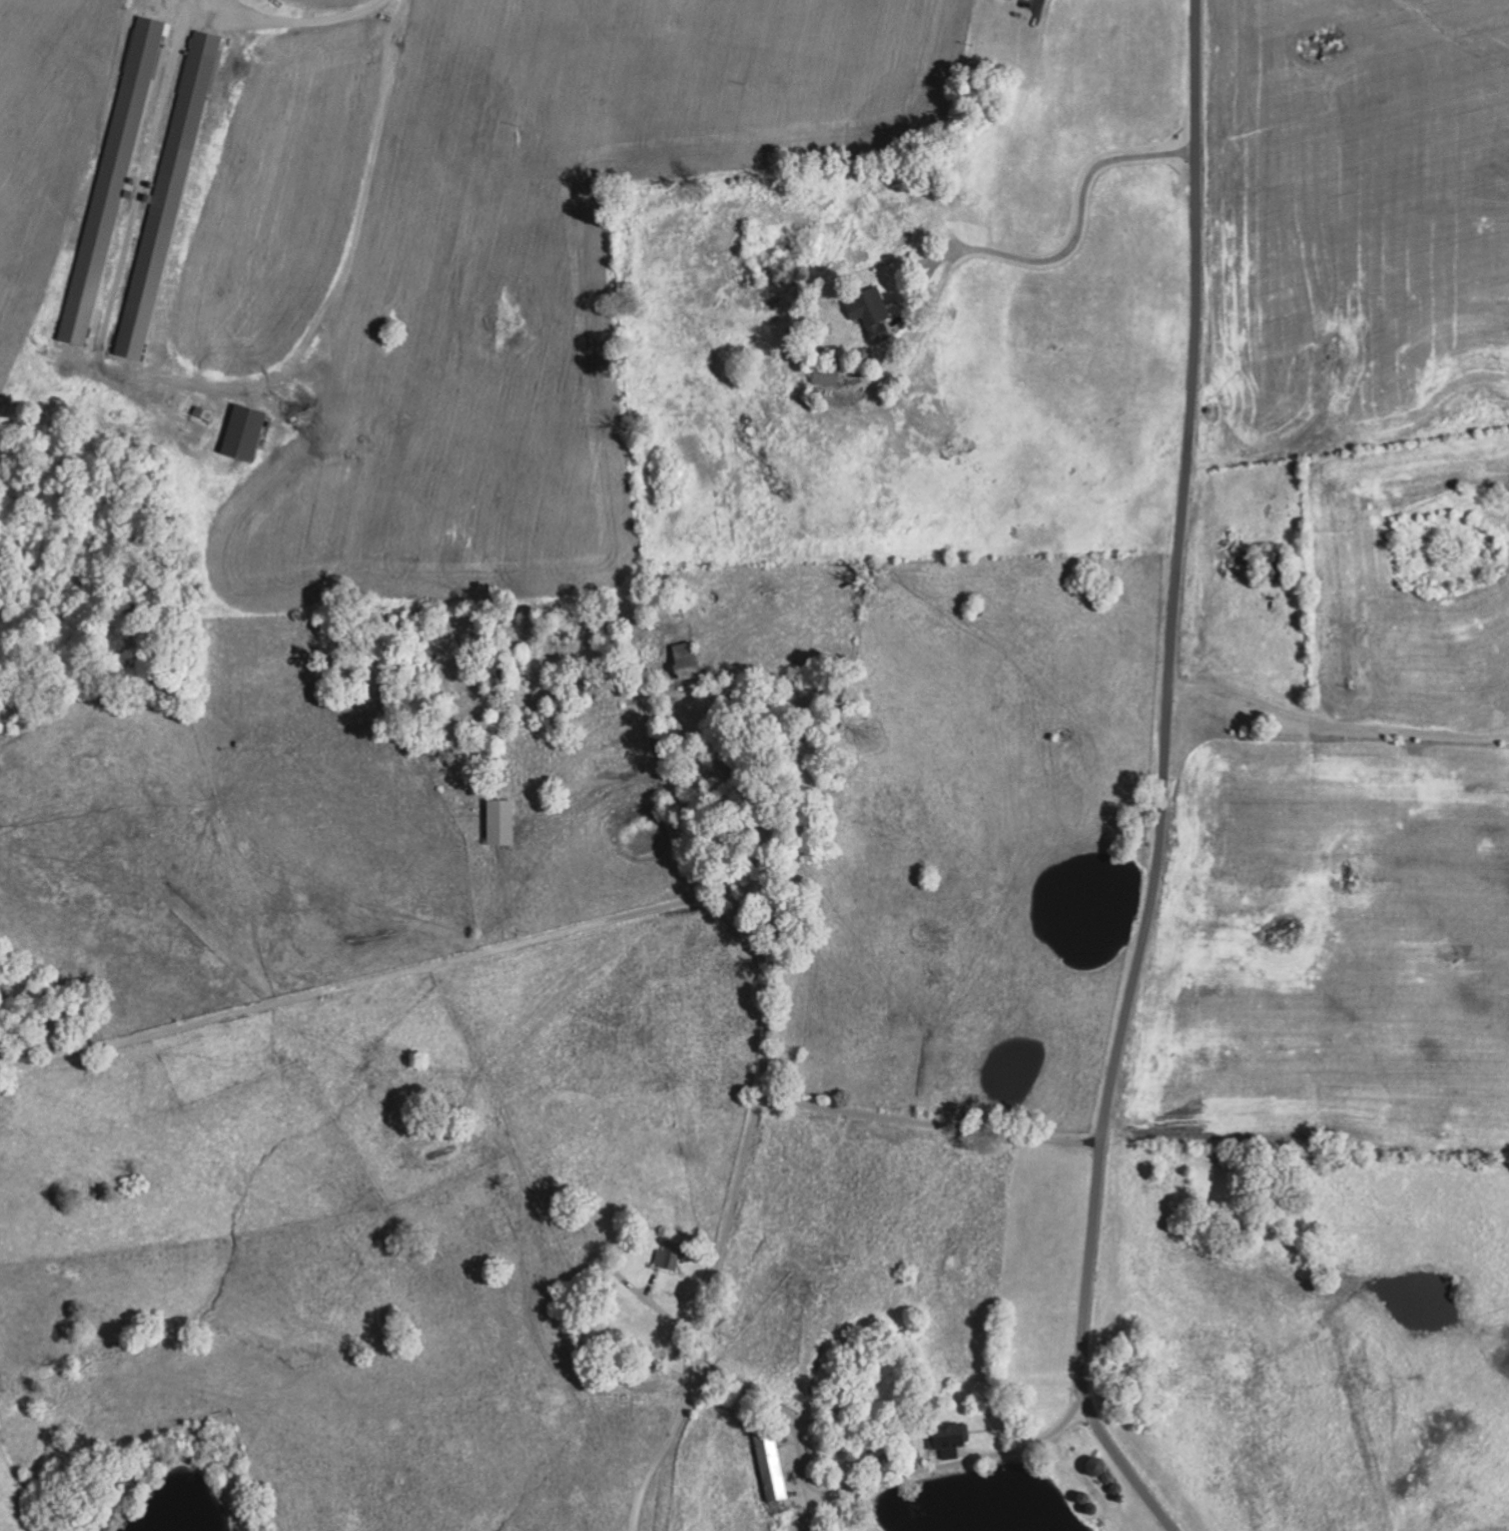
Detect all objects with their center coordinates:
road: (293, 22)
building: (113, 177)
building: (166, 203)
road: (1019, 256)
road: (930, 273)
building: (871, 312)
building: (827, 375)
building: (203, 412)
building: (245, 432)
building: (1276, 565)
building: (687, 660)
road: (1335, 724)
road: (1161, 785)
building: (501, 822)
road: (1059, 1140)
road: (729, 1211)
building: (669, 1256)
building: (951, 1440)
road: (967, 1461)
building: (771, 1466)

